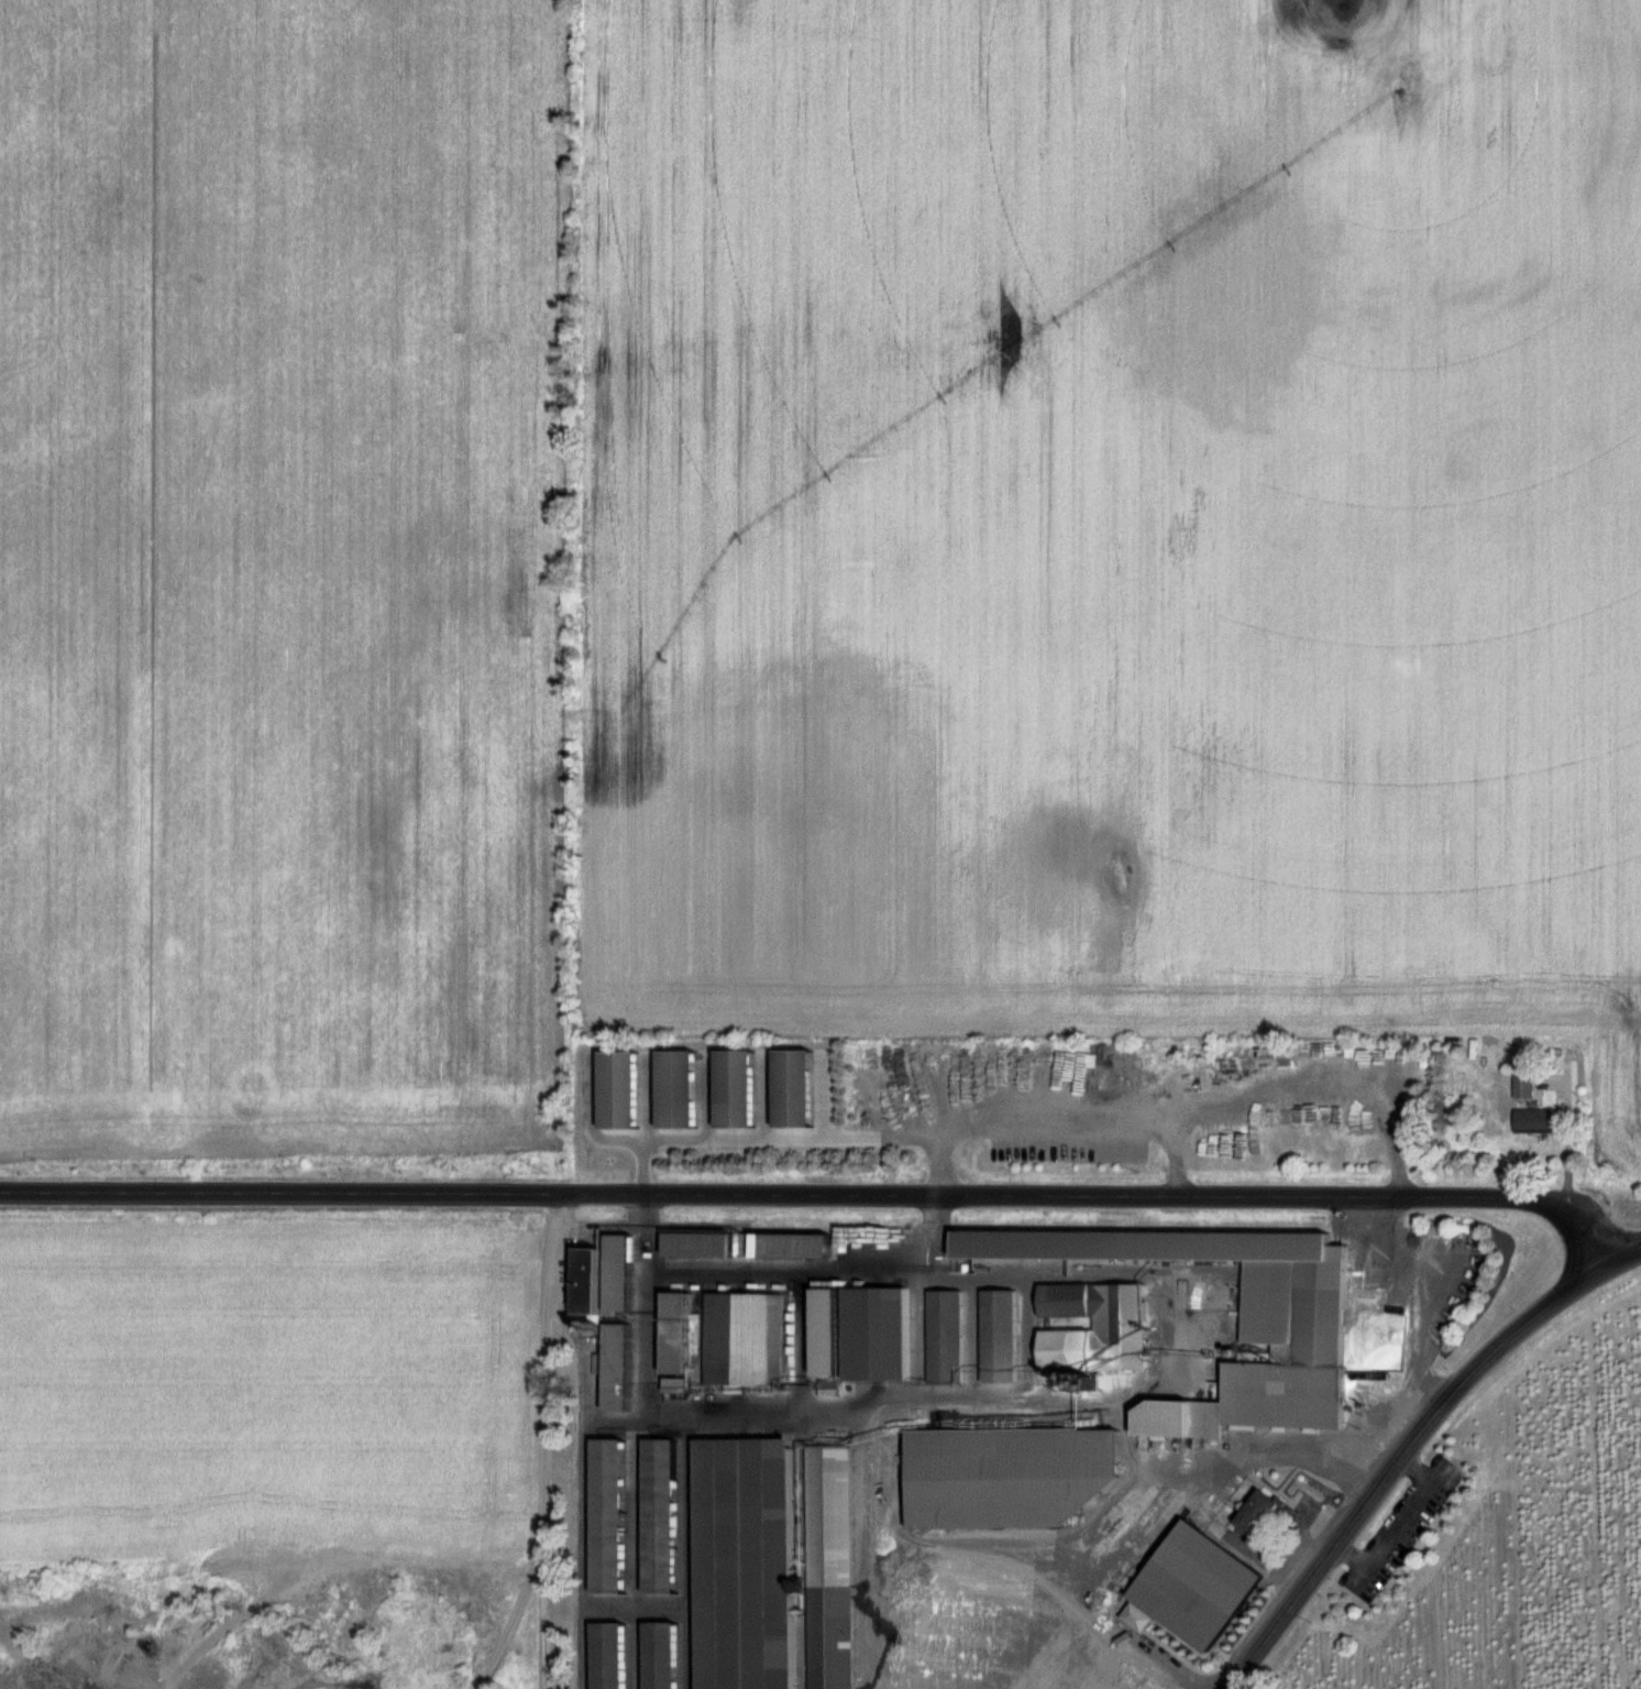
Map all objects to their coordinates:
building: (1523, 1085)
road: (1175, 1108)
building: (1534, 1121)
road: (1566, 1143)
road: (1172, 1150)
road: (817, 1192)
building: (697, 1244)
building: (783, 1246)
road: (1623, 1253)
building: (617, 1273)
road: (838, 1274)
building: (585, 1282)
road: (1421, 1295)
building: (1293, 1303)
building: (1093, 1326)
building: (676, 1334)
building: (874, 1335)
building: (999, 1336)
building: (945, 1337)
building: (744, 1339)
building: (616, 1368)
building: (675, 1385)
road: (1029, 1400)
road: (1380, 1413)
road: (1402, 1459)
building: (1003, 1477)
road: (1141, 1513)
building: (1257, 1513)
building: (607, 1517)
building: (659, 1517)
building: (744, 1565)
building: (828, 1568)
building: (1194, 1587)
building: (607, 1656)
building: (660, 1656)
building: (1111, 1658)

